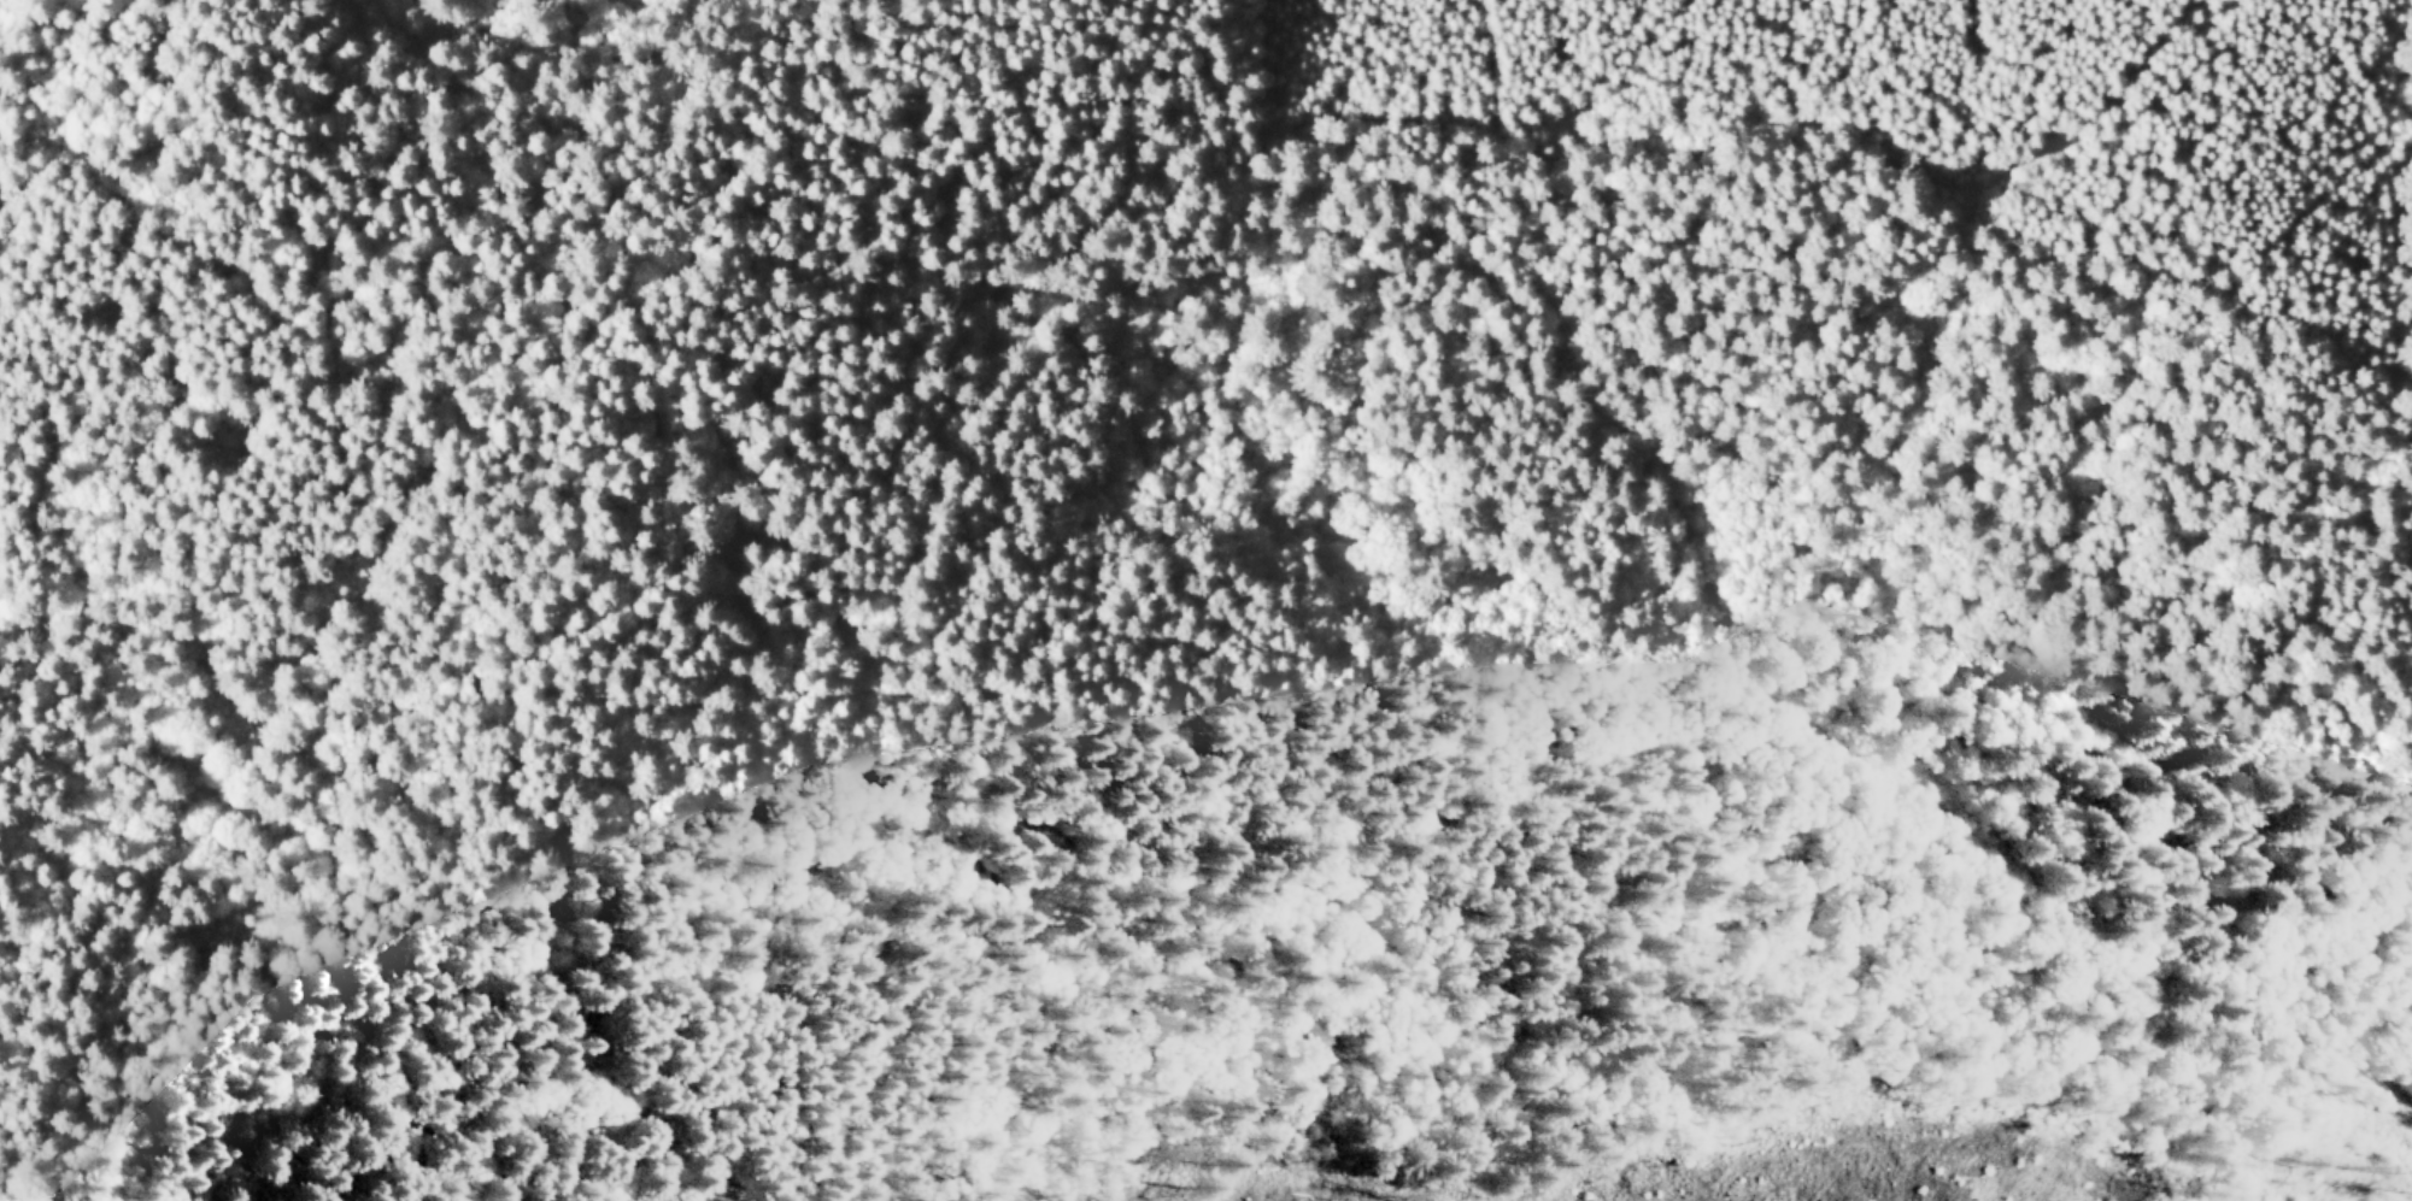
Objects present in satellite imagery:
road: (1301, 94)

